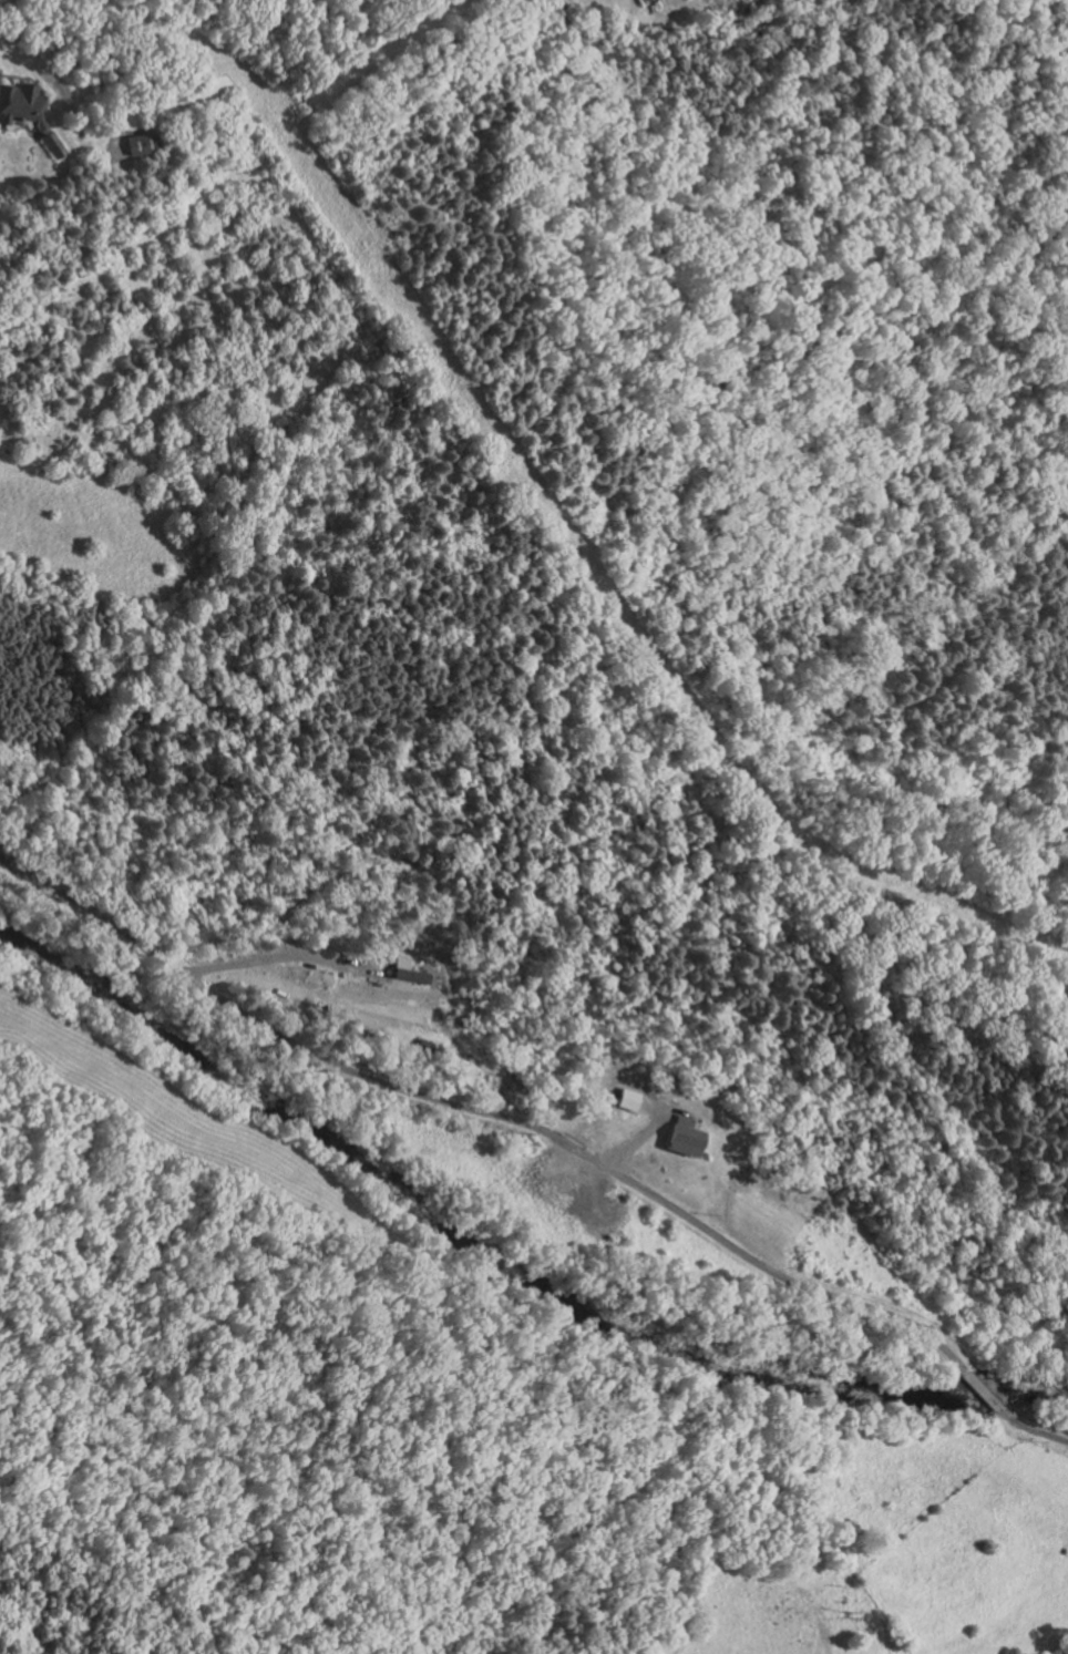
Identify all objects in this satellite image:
road: (99, 54)
building: (21, 105)
building: (49, 144)
building: (138, 144)
road: (280, 956)
building: (414, 975)
building: (630, 1099)
road: (485, 1112)
building: (687, 1136)
road: (639, 1139)
road: (983, 1390)
road: (1033, 1429)

